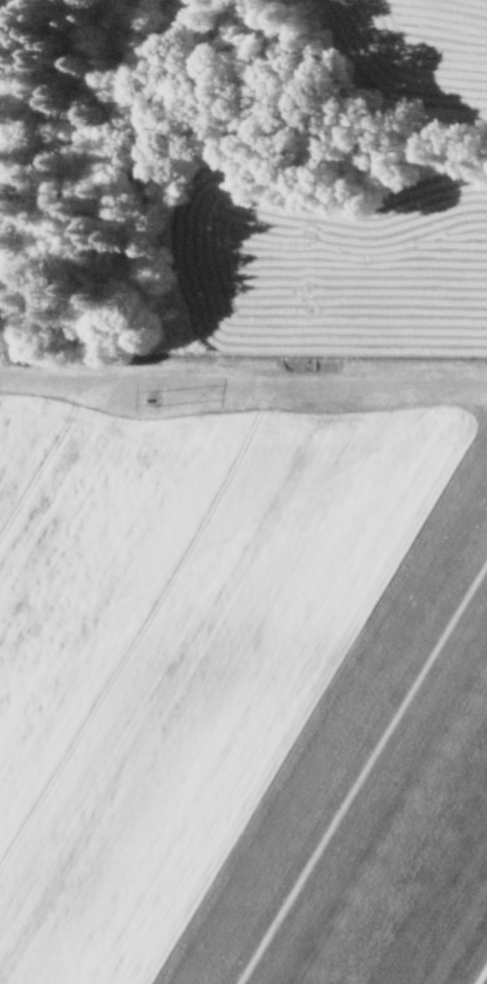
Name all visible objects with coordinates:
crop: (421, 42)
power tower: (152, 394)
crop: (255, 617)

